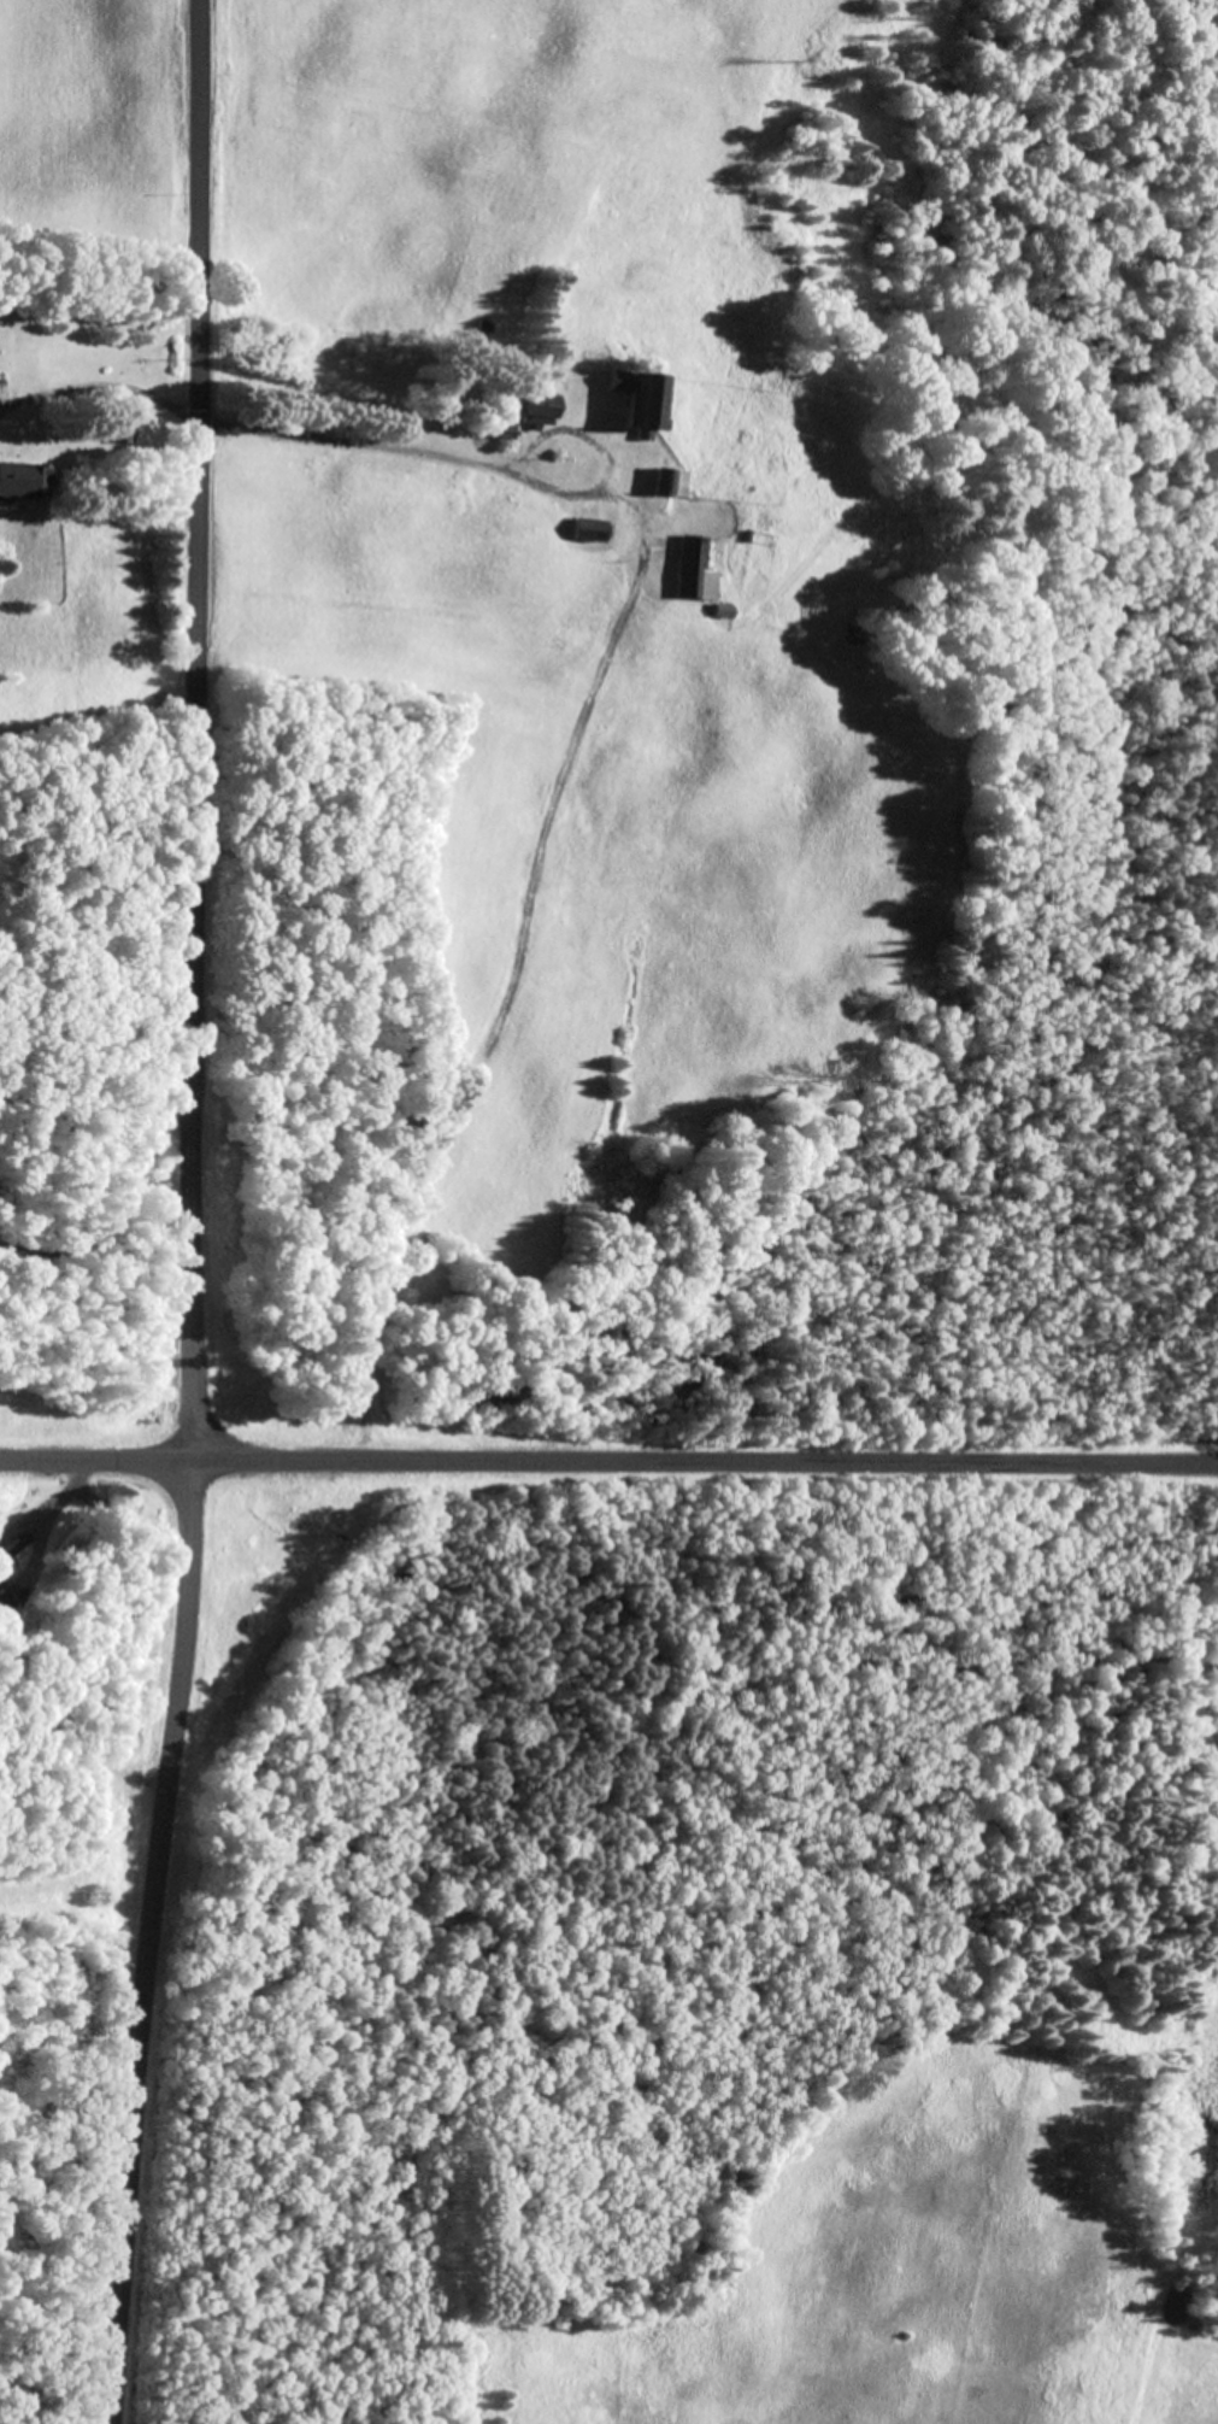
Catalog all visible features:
building: (642, 403)
building: (540, 412)
building: (123, 433)
building: (502, 434)
building: (24, 485)
building: (673, 487)
building: (590, 534)
building: (696, 575)
road: (581, 768)
road: (189, 1213)
road: (98, 1457)
road: (706, 1457)
building: (11, 1544)
building: (4, 1602)
road: (75, 1920)

